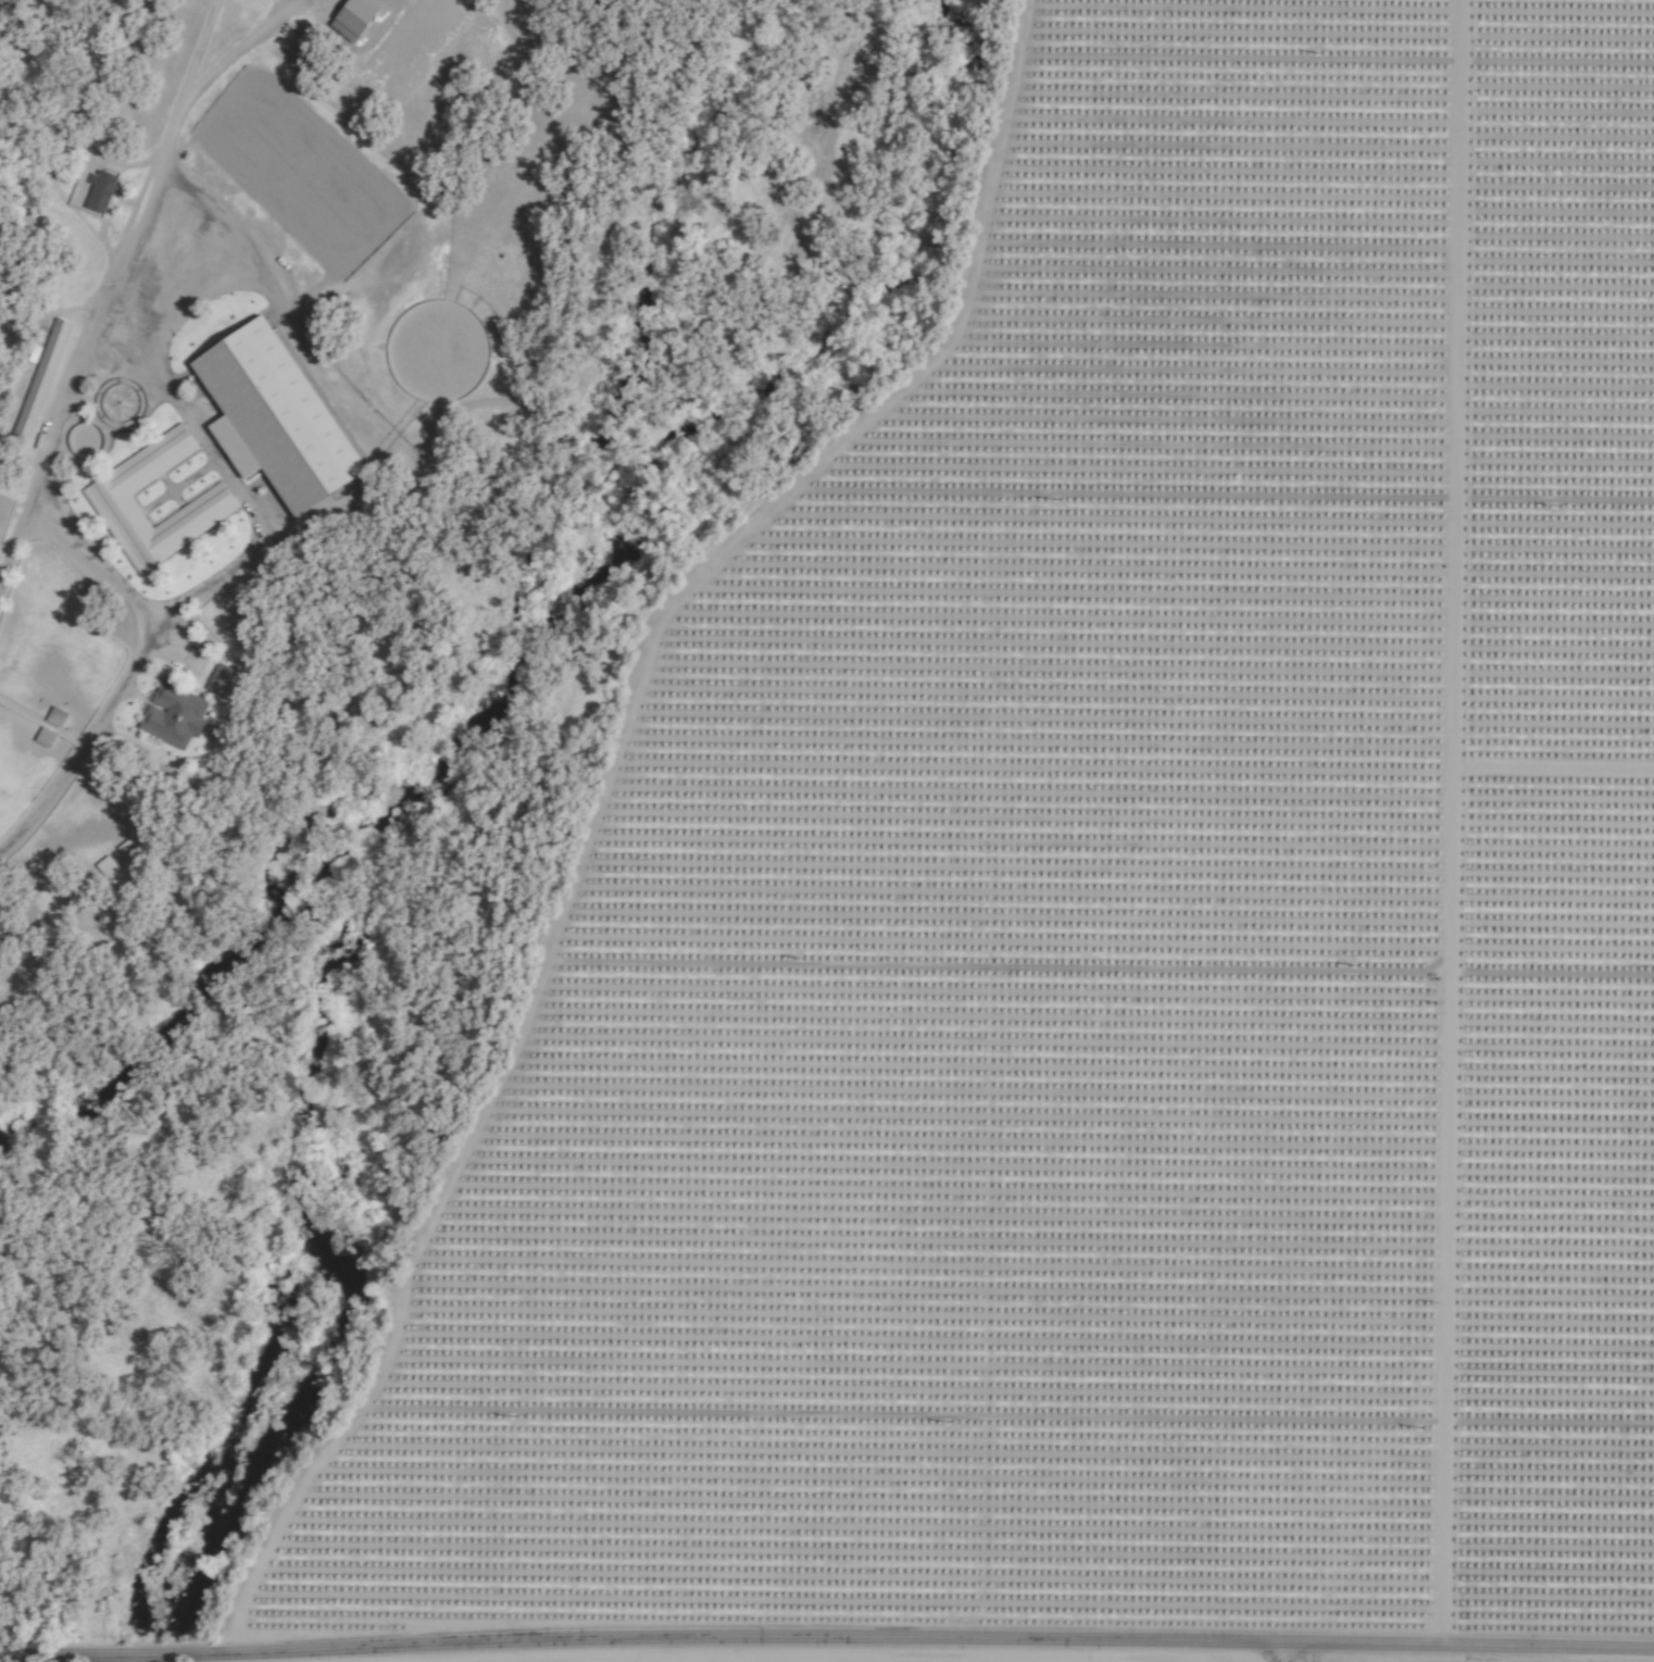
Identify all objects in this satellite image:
building: (353, 17)
road: (237, 49)
road: (109, 280)
building: (40, 378)
building: (271, 416)
road: (233, 475)
building: (211, 501)
road: (133, 668)
building: (217, 679)
building: (172, 715)
building: (43, 737)
crop: (1101, 905)
road: (827, 1647)
road: (1275, 1657)
road: (1305, 1657)

